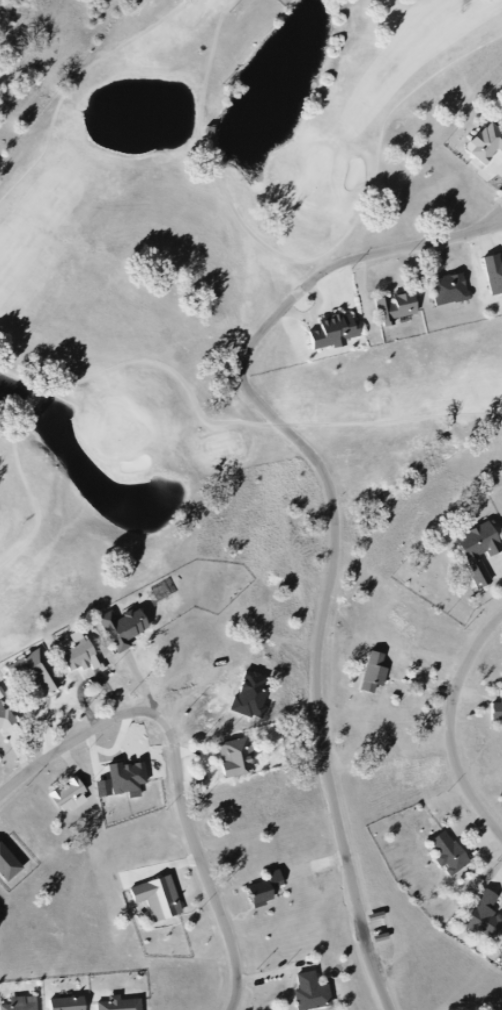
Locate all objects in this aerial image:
road: (73, 83)
building: (491, 146)
park: (317, 179)
road: (492, 220)
road: (306, 260)
building: (495, 274)
building: (455, 291)
building: (408, 308)
building: (339, 334)
road: (180, 377)
park: (119, 432)
park: (255, 514)
road: (335, 521)
building: (480, 550)
building: (166, 600)
building: (129, 634)
building: (87, 658)
building: (374, 673)
building: (39, 675)
building: (501, 705)
building: (8, 718)
road: (456, 719)
building: (242, 763)
road: (183, 770)
building: (74, 796)
building: (449, 854)
building: (270, 892)
building: (164, 902)
building: (485, 916)
building: (318, 995)
building: (73, 1005)
building: (127, 1007)
building: (28, 1008)

